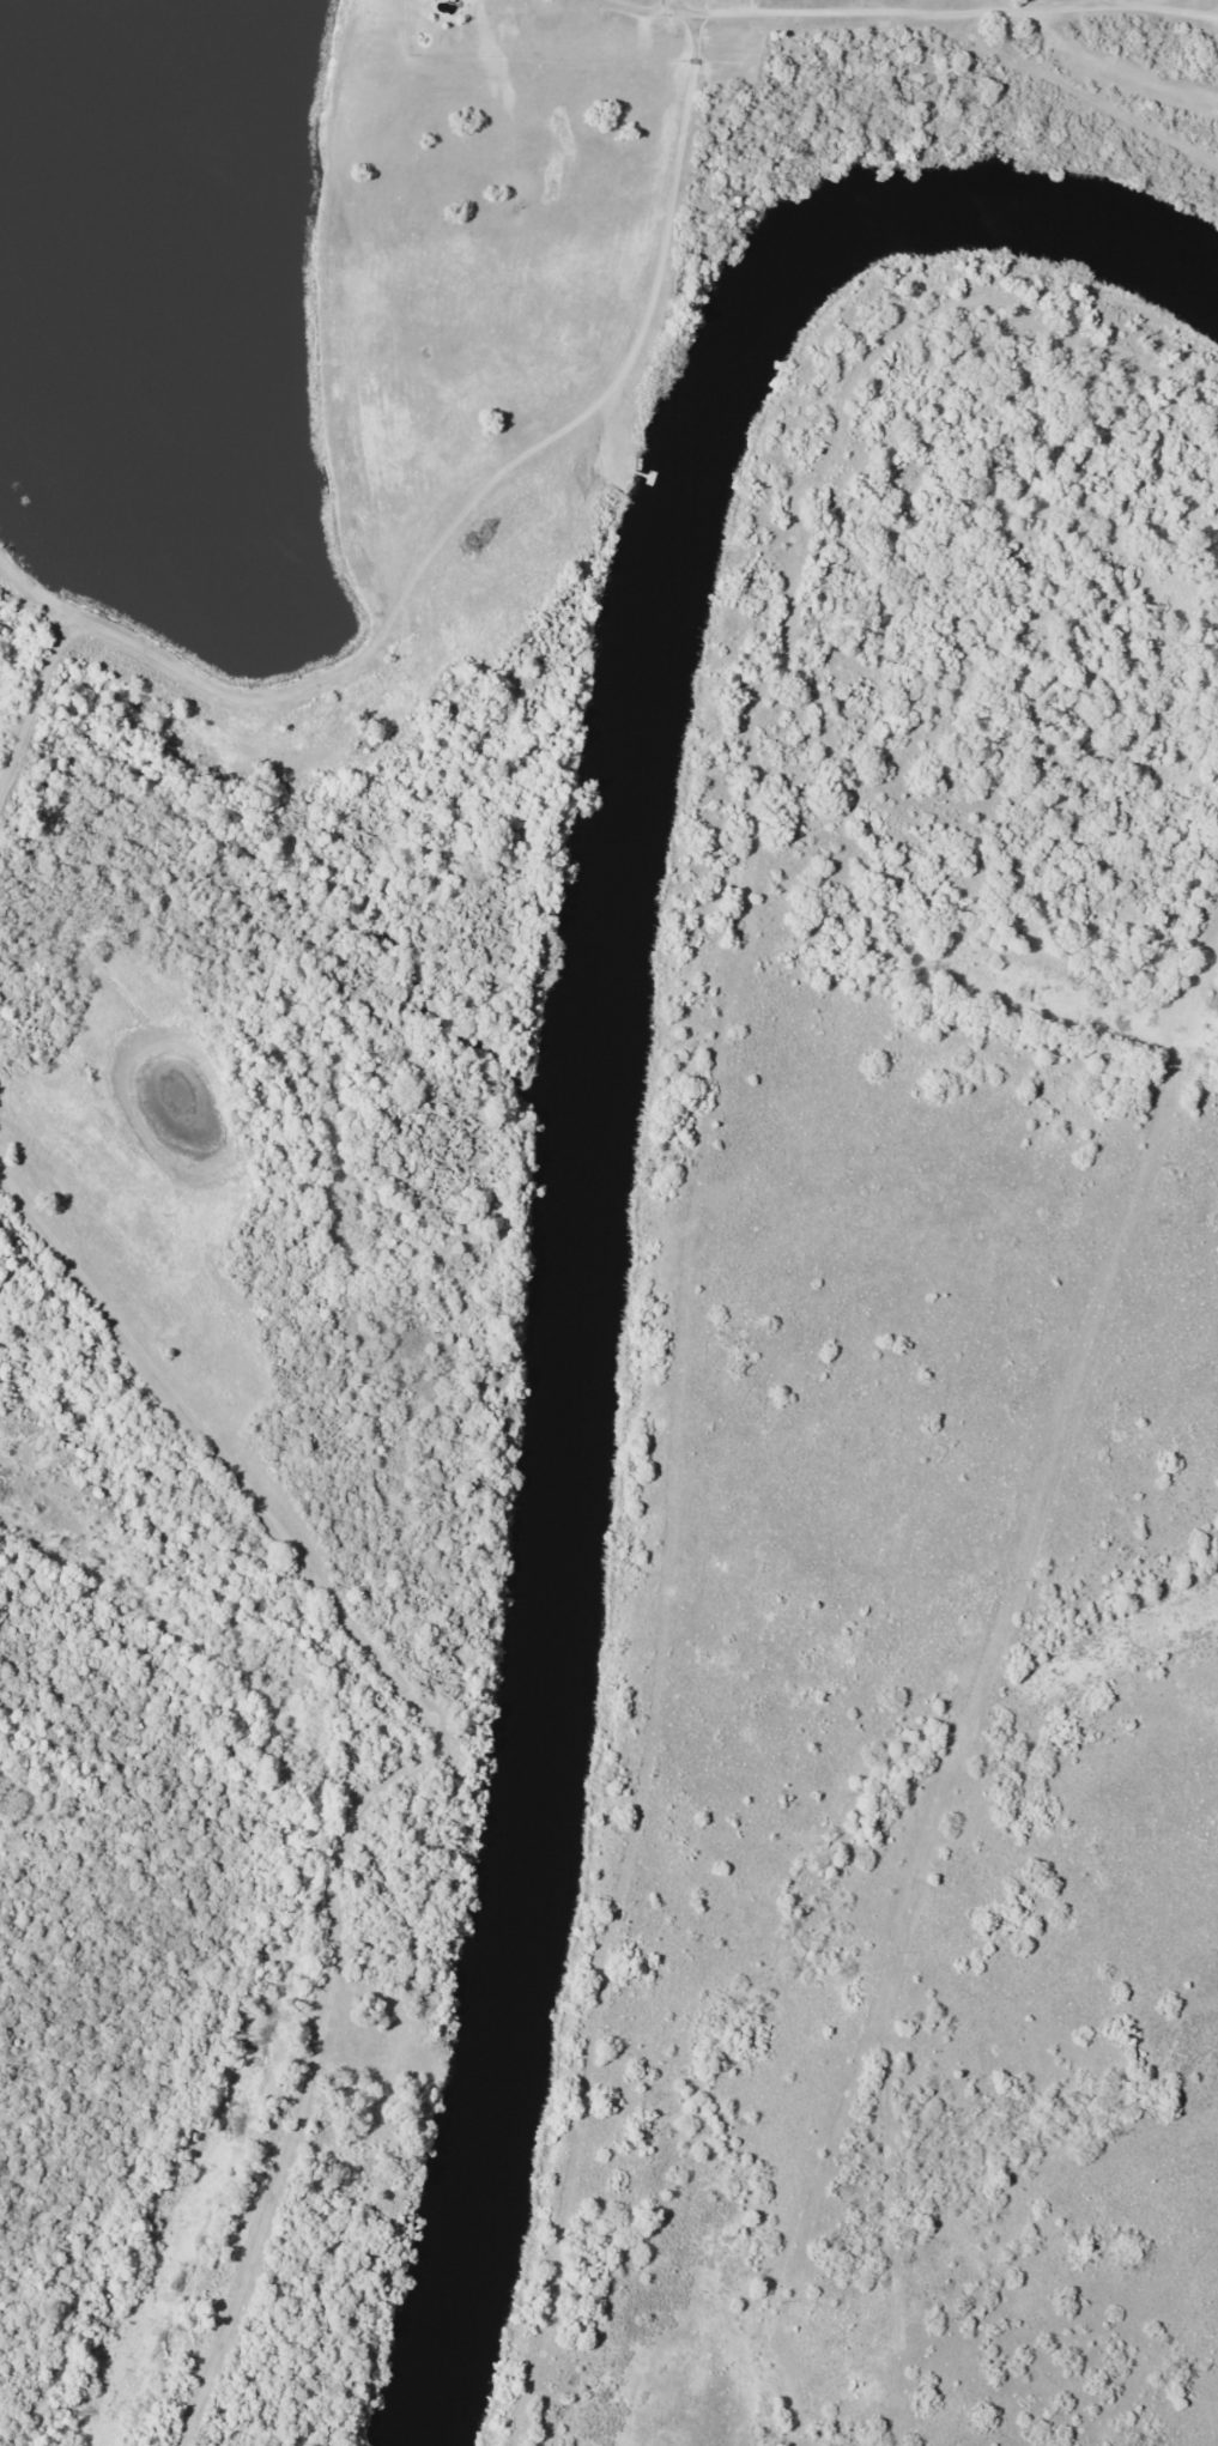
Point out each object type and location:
road: (1062, 55)
road: (1146, 71)
road: (503, 517)
river: (592, 1109)
road: (689, 1600)

